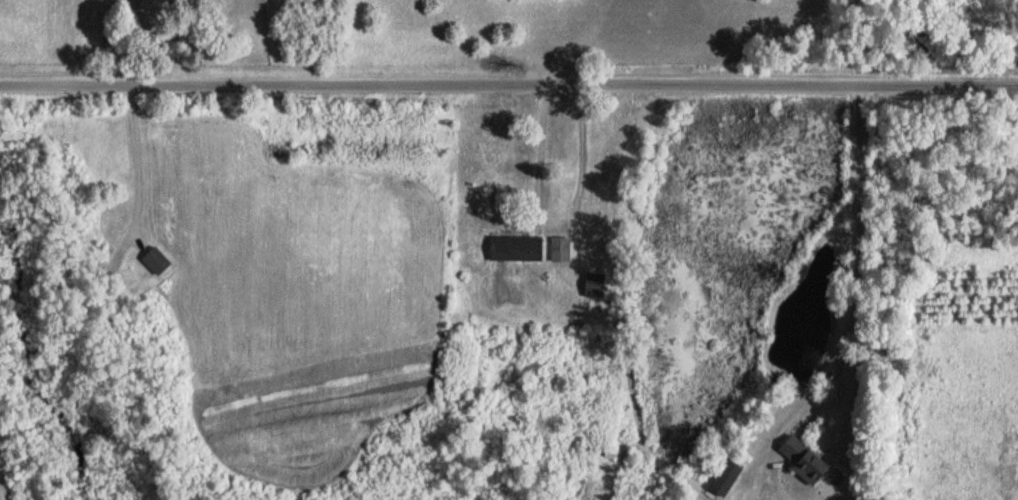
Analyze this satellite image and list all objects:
road: (127, 40)
road: (508, 81)
building: (276, 151)
road: (125, 155)
road: (861, 244)
building: (89, 246)
building: (516, 248)
building: (559, 250)
building: (156, 261)
building: (593, 285)
building: (611, 453)
building: (802, 459)
building: (724, 478)

